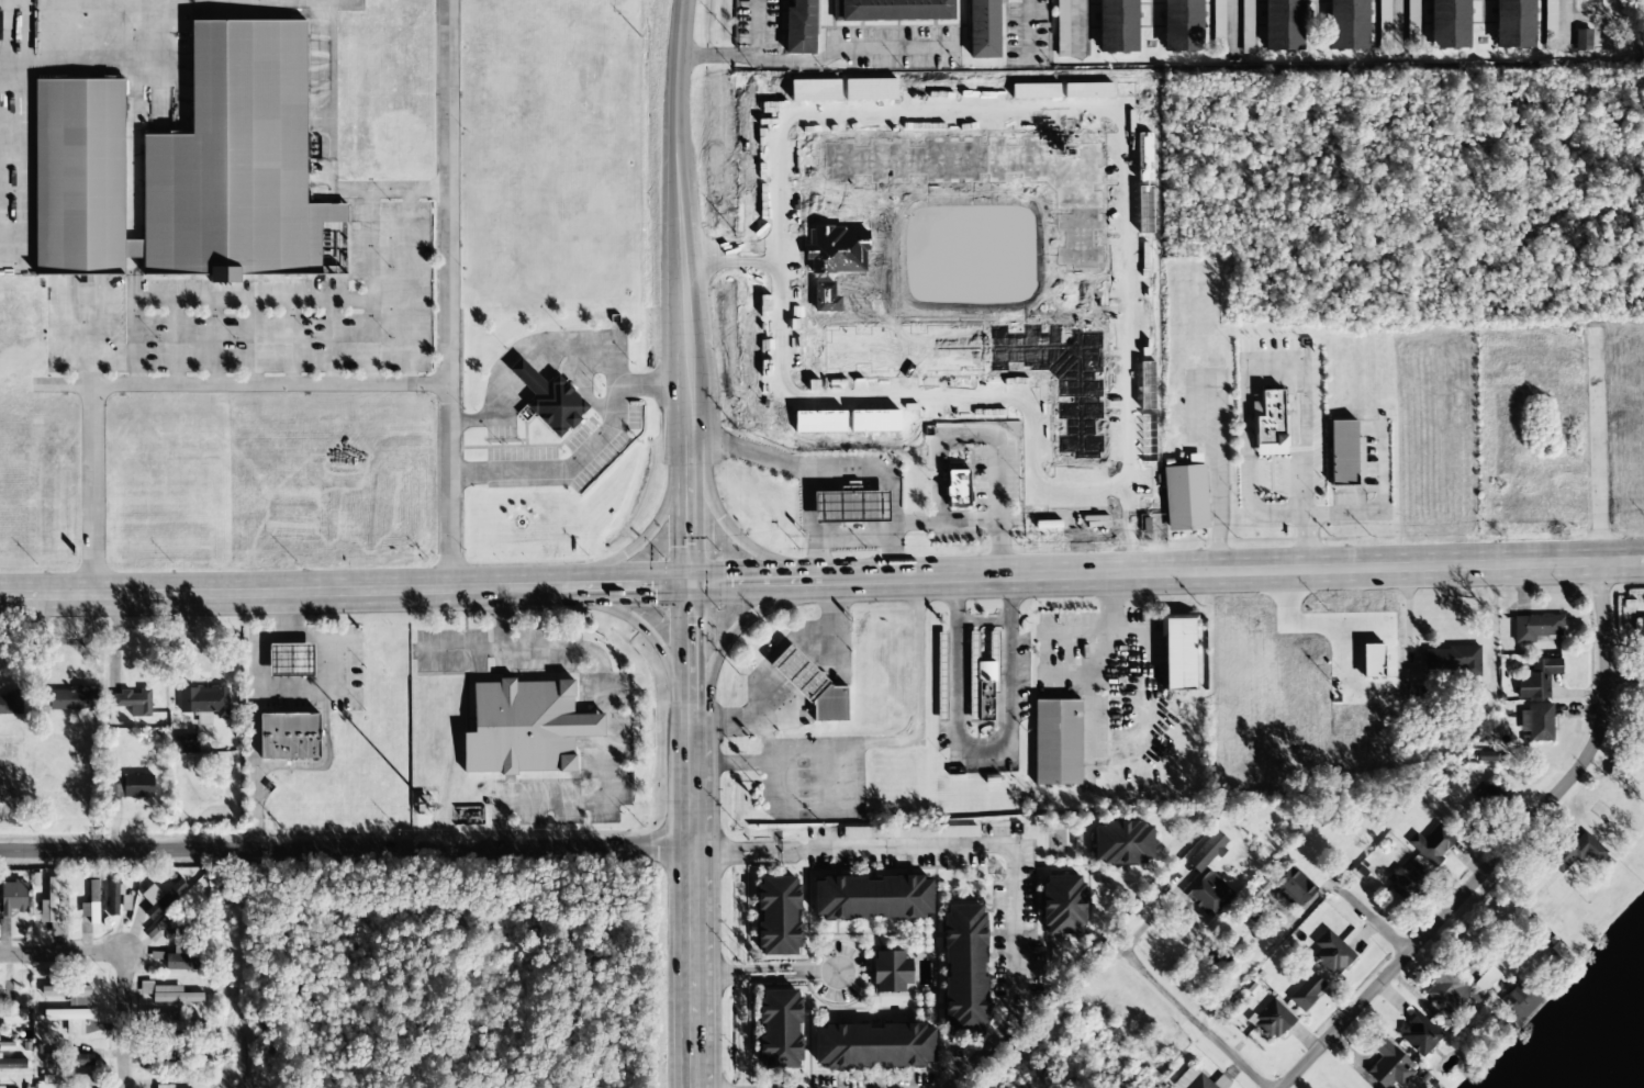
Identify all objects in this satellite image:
building: (1589, 0)
building: (893, 10)
road: (1563, 15)
building: (1550, 19)
building: (1384, 21)
building: (1411, 23)
building: (1511, 23)
building: (1345, 24)
building: (1446, 24)
building: (1115, 25)
building: (1179, 25)
building: (1280, 25)
road: (75, 26)
building: (797, 26)
road: (1076, 26)
building: (1218, 26)
building: (1246, 26)
building: (1062, 27)
building: (1076, 27)
road: (757, 29)
building: (980, 29)
building: (1581, 38)
road: (108, 53)
road: (816, 58)
road: (680, 76)
road: (325, 154)
building: (183, 166)
road: (683, 285)
road: (447, 293)
road: (265, 298)
road: (89, 340)
road: (167, 383)
building: (547, 399)
building: (1267, 424)
building: (1344, 453)
building: (954, 489)
building: (1183, 494)
road: (690, 502)
building: (847, 506)
road: (732, 530)
road: (642, 537)
road: (1242, 570)
road: (765, 583)
road: (527, 585)
road: (609, 585)
traffic signals: (691, 585)
road: (262, 587)
road: (1009, 598)
road: (981, 620)
road: (635, 621)
road: (740, 624)
building: (1536, 628)
building: (1641, 629)
road: (691, 652)
building: (1176, 652)
building: (287, 660)
building: (1450, 660)
road: (764, 663)
road: (1625, 674)
building: (940, 676)
building: (1536, 678)
building: (980, 680)
building: (808, 685)
building: (70, 698)
building: (131, 700)
building: (11, 703)
building: (202, 703)
road: (251, 708)
building: (1535, 724)
building: (522, 728)
road: (914, 731)
building: (1641, 732)
building: (286, 736)
building: (1054, 742)
building: (186, 743)
road: (963, 743)
road: (753, 761)
building: (133, 785)
road: (1506, 797)
building: (1486, 799)
building: (909, 832)
building: (1120, 842)
building: (1431, 844)
road: (687, 846)
road: (767, 849)
road: (1502, 850)
road: (344, 851)
building: (1573, 852)
road: (712, 854)
road: (767, 857)
road: (1011, 878)
building: (1205, 879)
building: (1405, 879)
building: (1291, 887)
building: (12, 897)
building: (114, 897)
building: (160, 898)
building: (870, 898)
building: (90, 902)
building: (1059, 905)
road: (1356, 906)
building: (49, 909)
building: (774, 916)
building: (165, 929)
road: (1398, 943)
building: (1329, 952)
road: (53, 955)
building: (178, 962)
road: (768, 968)
building: (961, 971)
road: (819, 972)
building: (887, 972)
road: (712, 974)
road: (769, 977)
building: (1305, 990)
building: (1445, 990)
building: (67, 992)
building: (168, 994)
building: (5, 996)
building: (1519, 999)
building: (12, 1016)
road: (125, 1016)
building: (66, 1019)
building: (1271, 1021)
road: (1192, 1022)
building: (172, 1023)
building: (775, 1029)
road: (686, 1031)
building: (1418, 1035)
building: (871, 1046)
building: (64, 1057)
building: (12, 1063)
building: (1387, 1066)
building: (1190, 1079)
building: (65, 1080)
building: (0, 1086)
building: (163, 1086)
building: (1, 1087)

